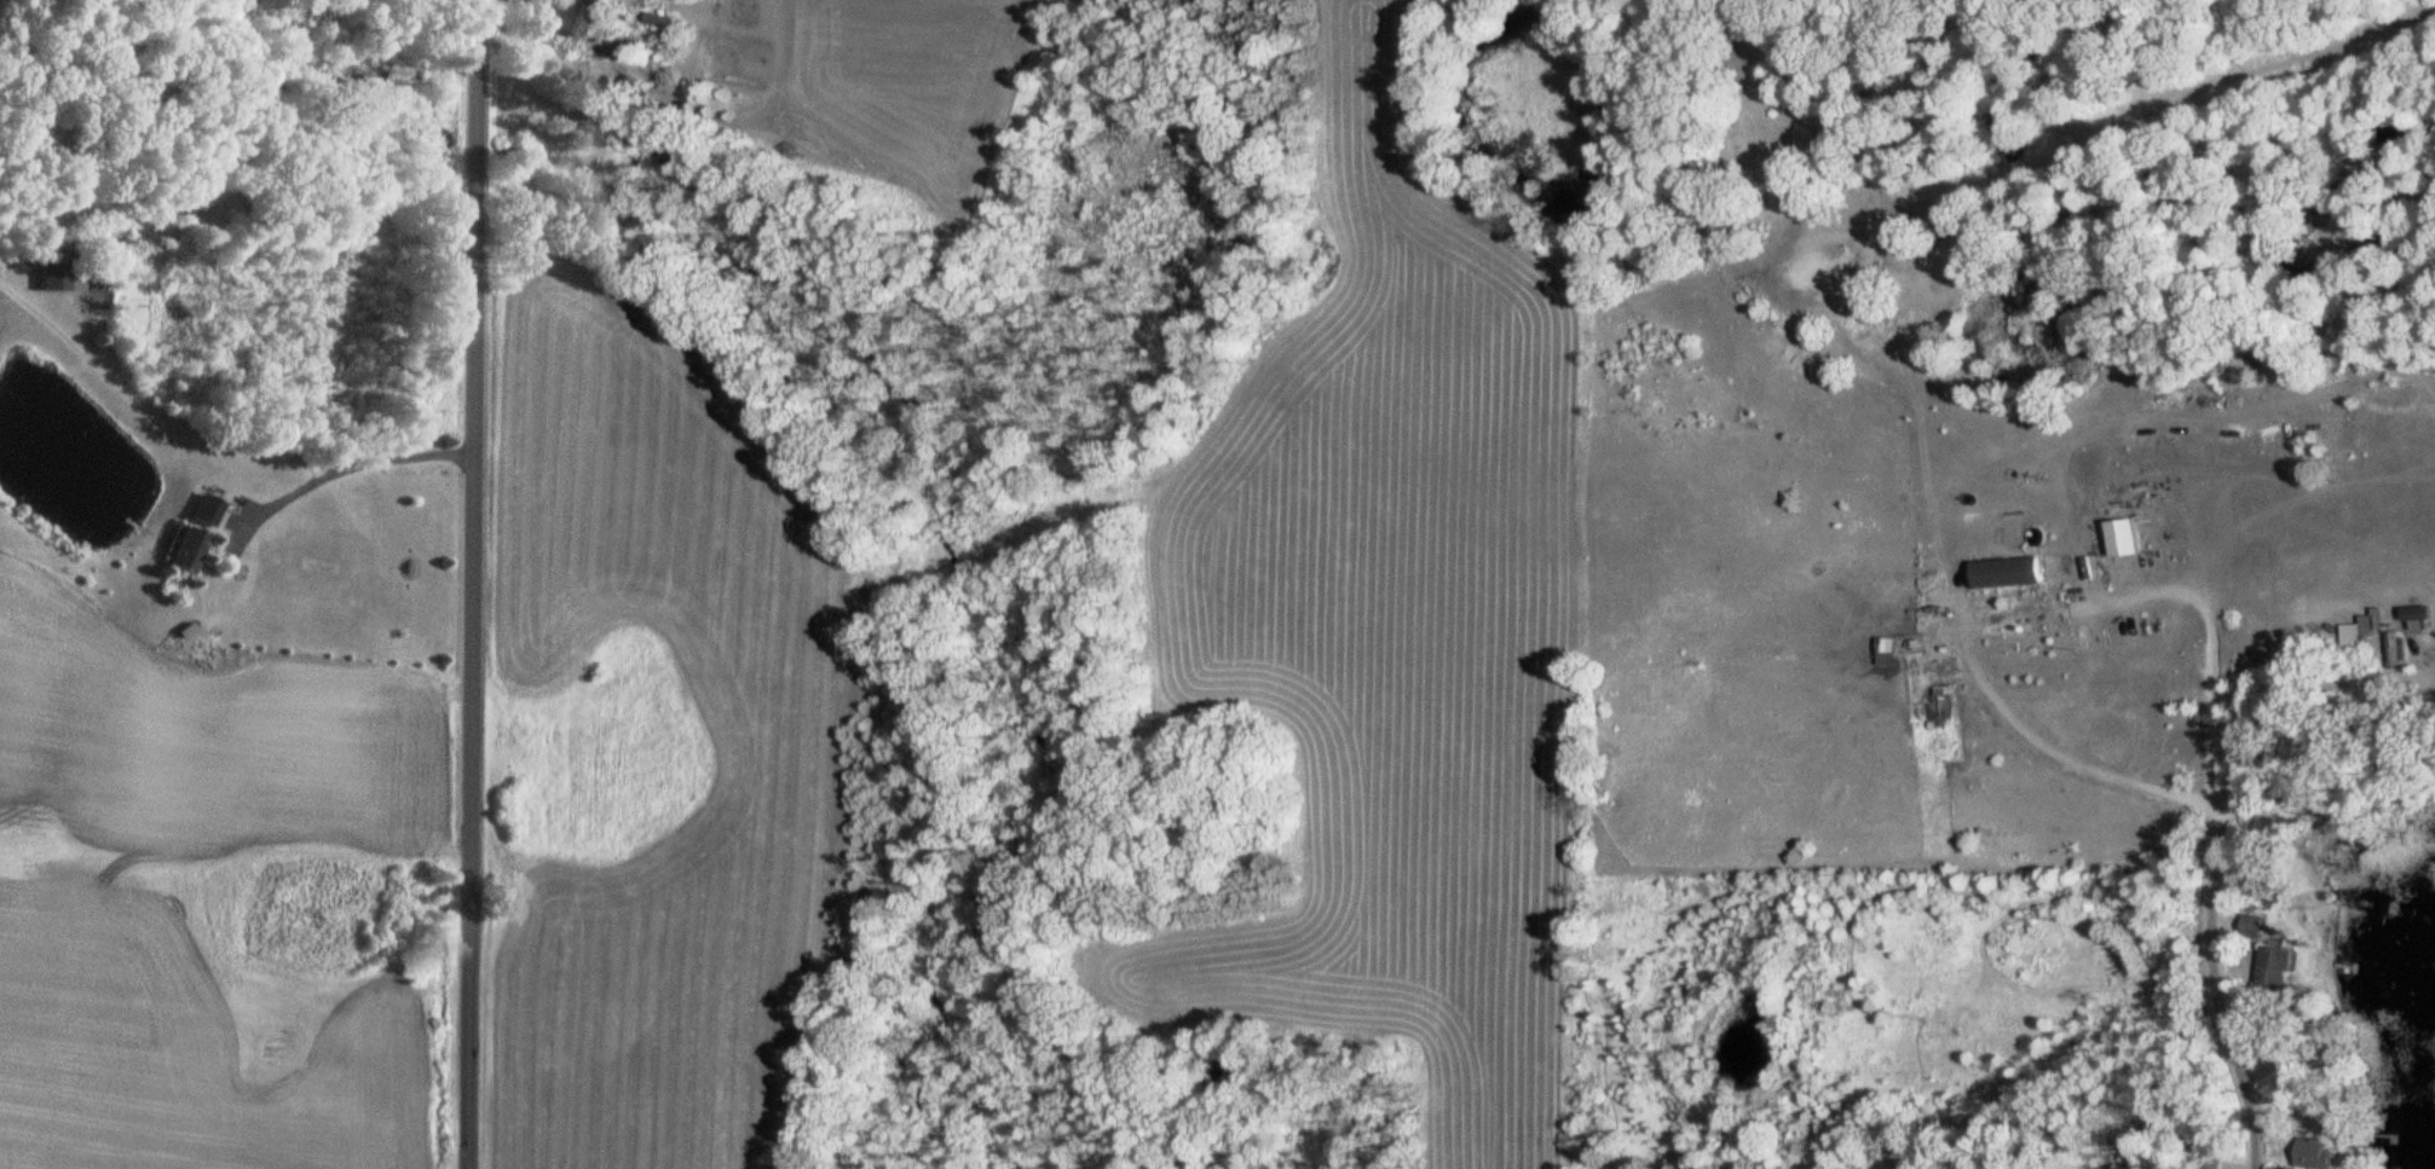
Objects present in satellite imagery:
building: (572, 17)
building: (60, 272)
building: (2156, 427)
road: (214, 429)
road: (633, 509)
building: (194, 538)
building: (2010, 574)
road: (473, 584)
building: (2417, 613)
road: (2199, 652)
building: (2395, 652)
building: (2248, 927)
building: (2275, 970)
road: (2216, 1001)
building: (2318, 1154)

